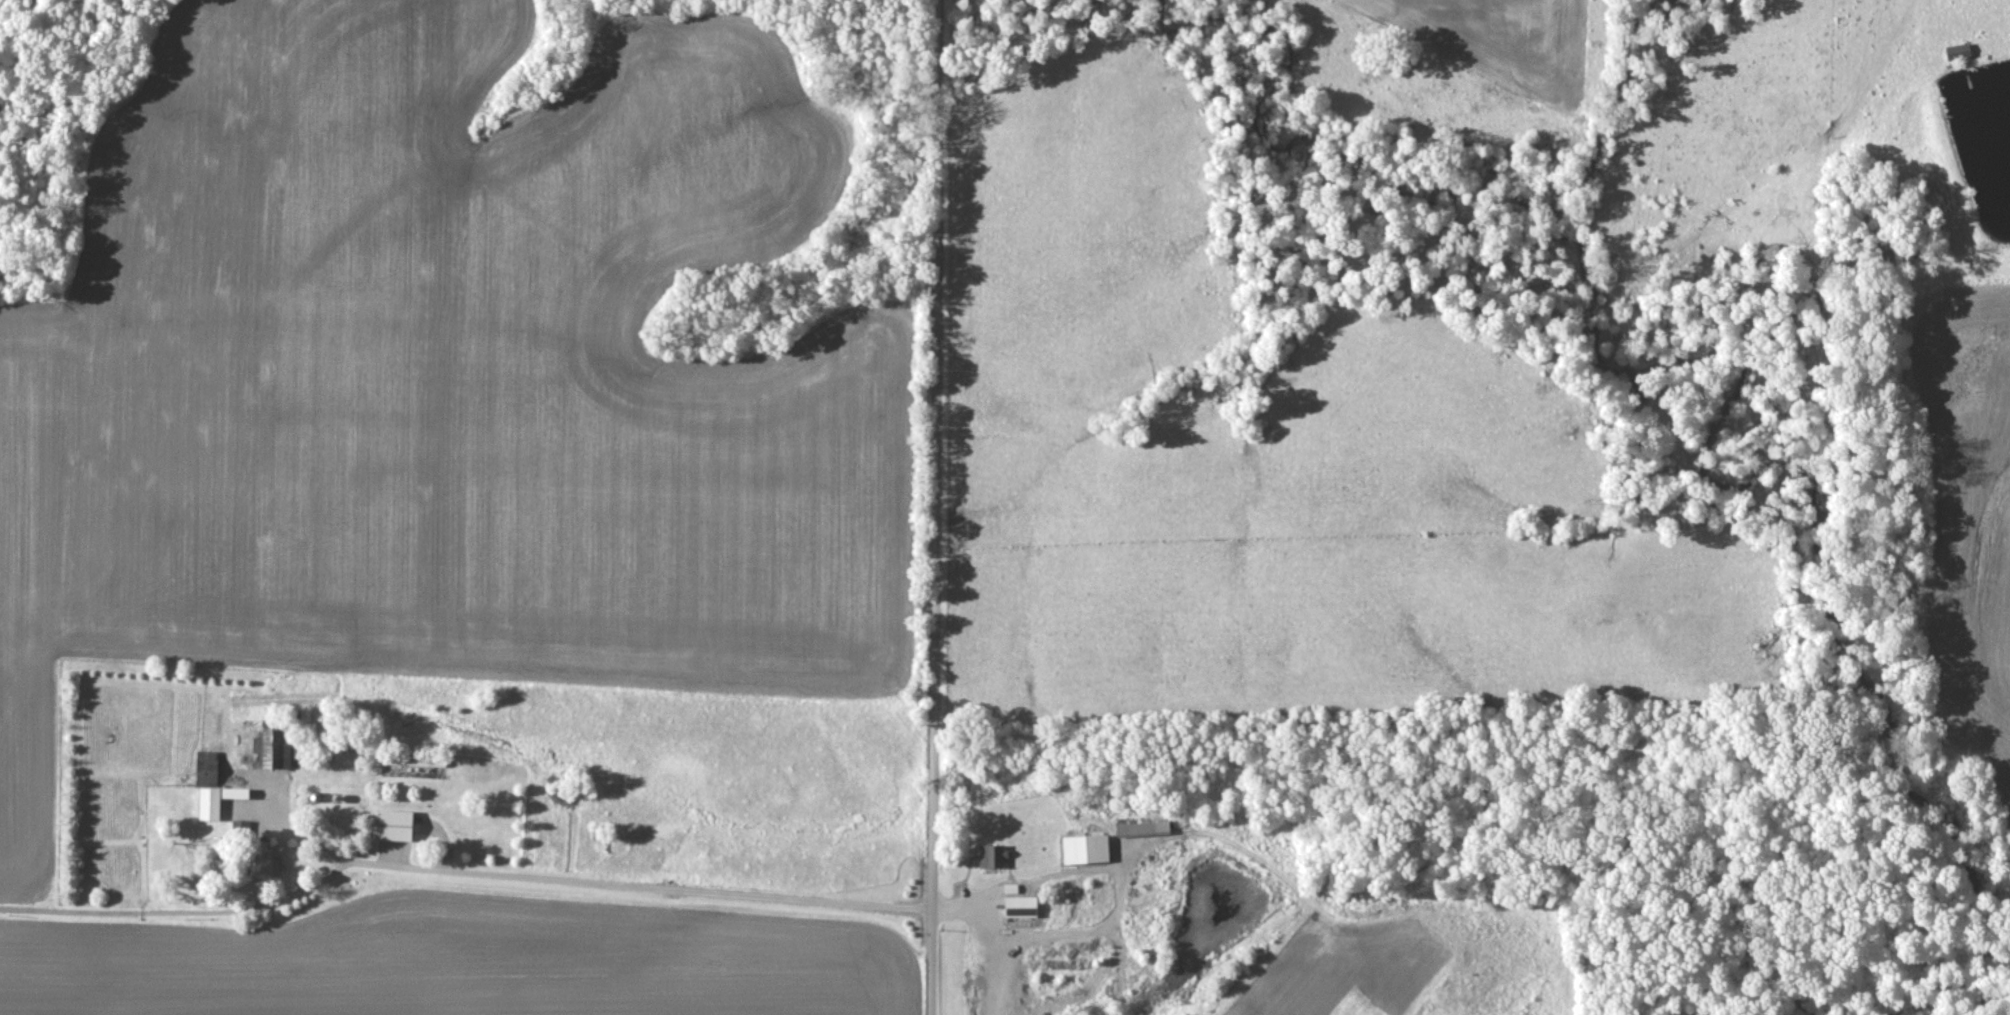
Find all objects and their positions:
building: (1958, 50)
road: (936, 507)
building: (267, 750)
building: (208, 802)
building: (232, 804)
building: (394, 823)
building: (1142, 827)
road: (287, 829)
building: (1085, 847)
building: (991, 854)
building: (263, 860)
road: (460, 874)
road: (1123, 881)
building: (1020, 904)
road: (991, 939)

